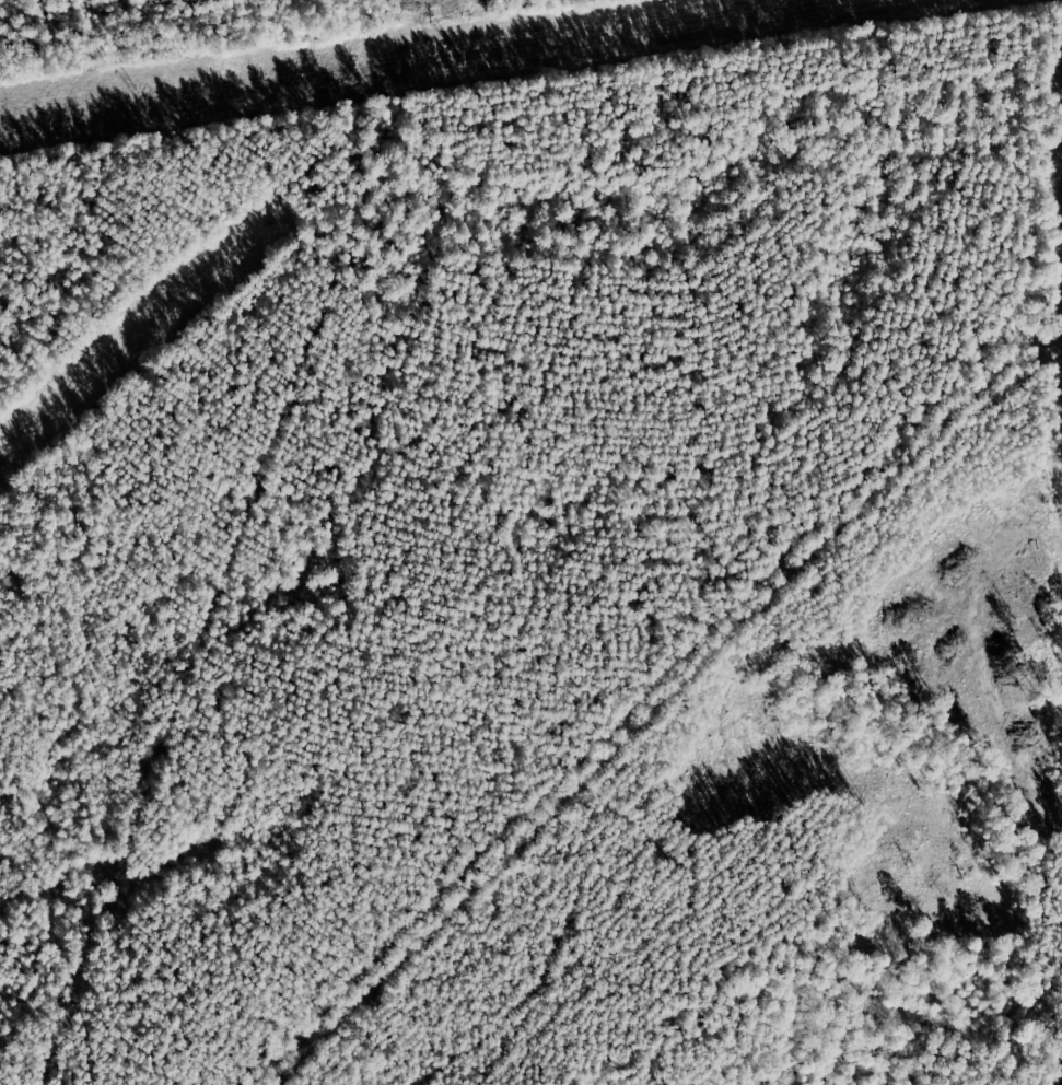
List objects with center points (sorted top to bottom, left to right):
power tower: (749, 11)
power tower: (458, 55)
power tower: (141, 100)

